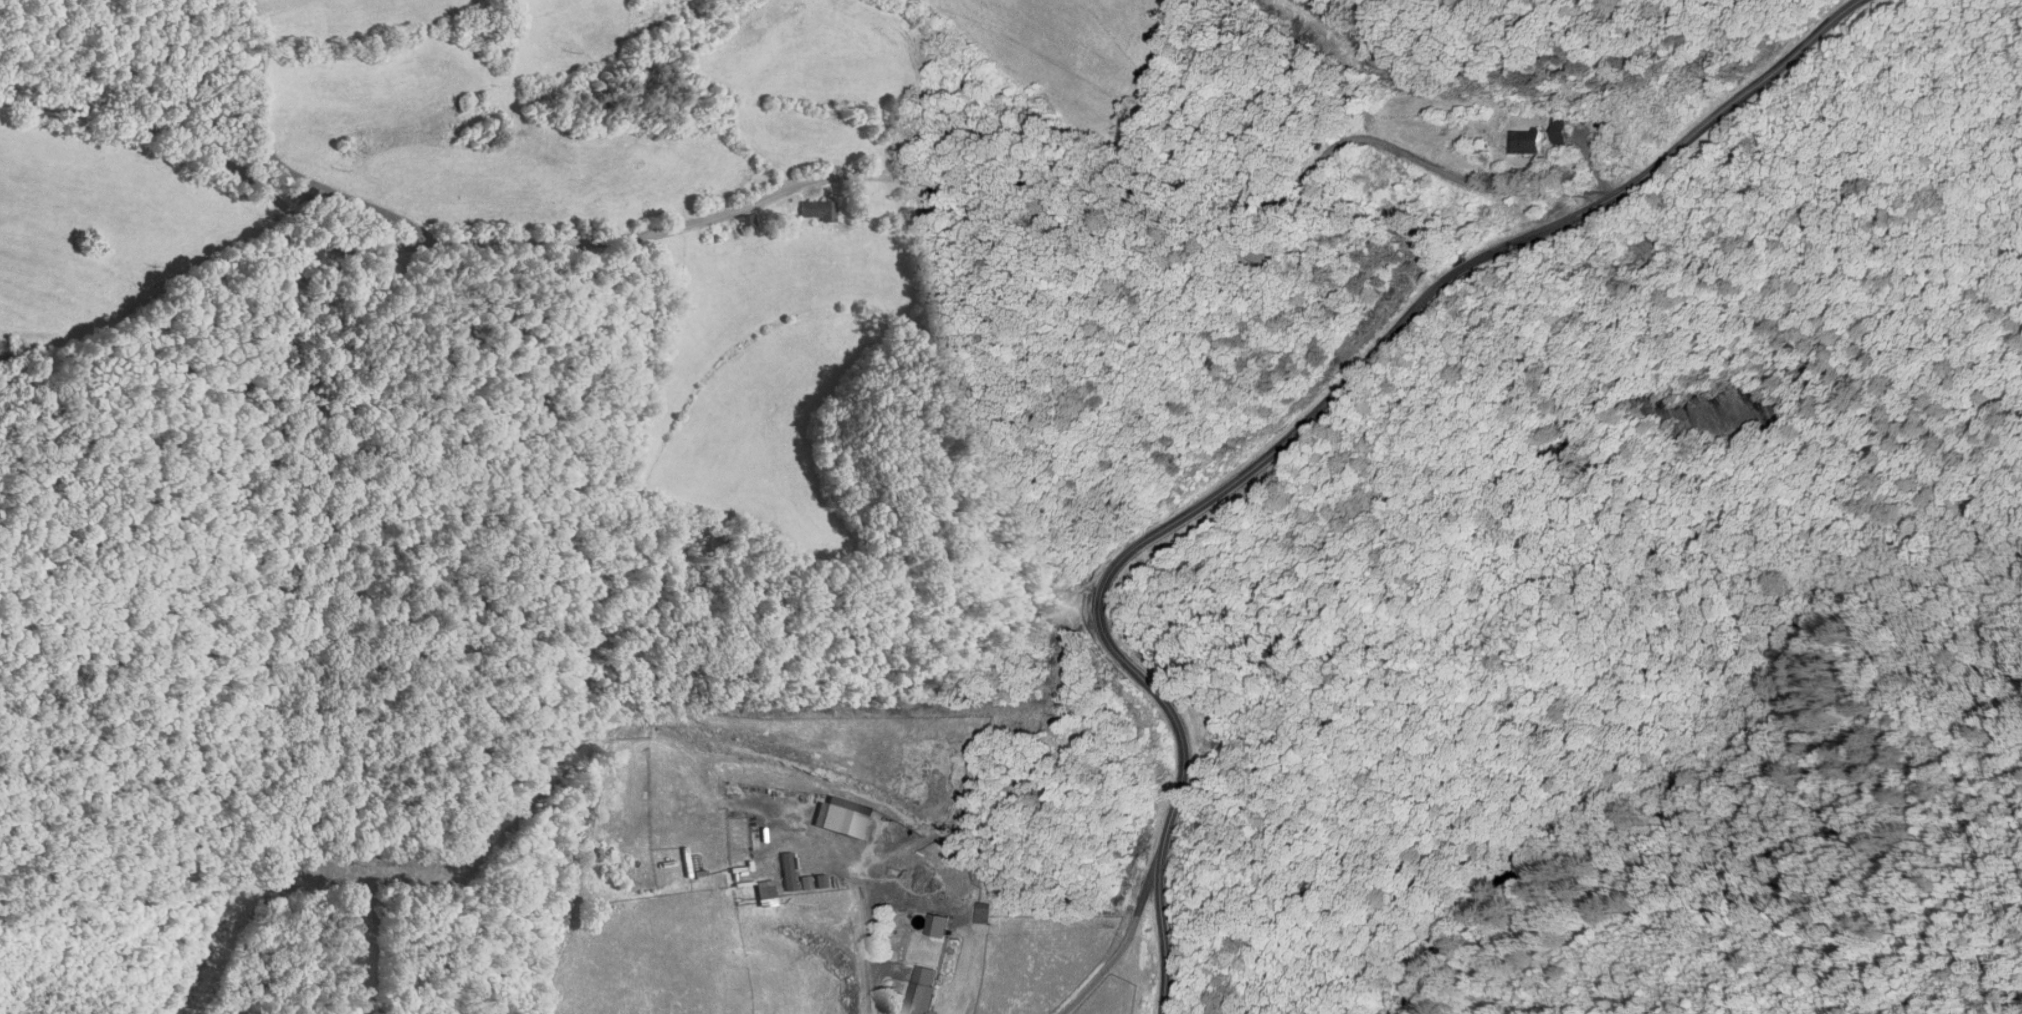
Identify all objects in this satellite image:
road: (1734, 103)
building: (1559, 130)
building: (1525, 141)
road: (282, 165)
road: (833, 178)
building: (817, 210)
building: (746, 222)
road: (1170, 523)
building: (849, 817)
building: (763, 889)
building: (981, 914)
building: (936, 924)
road: (874, 935)
road: (1128, 939)
building: (919, 990)

